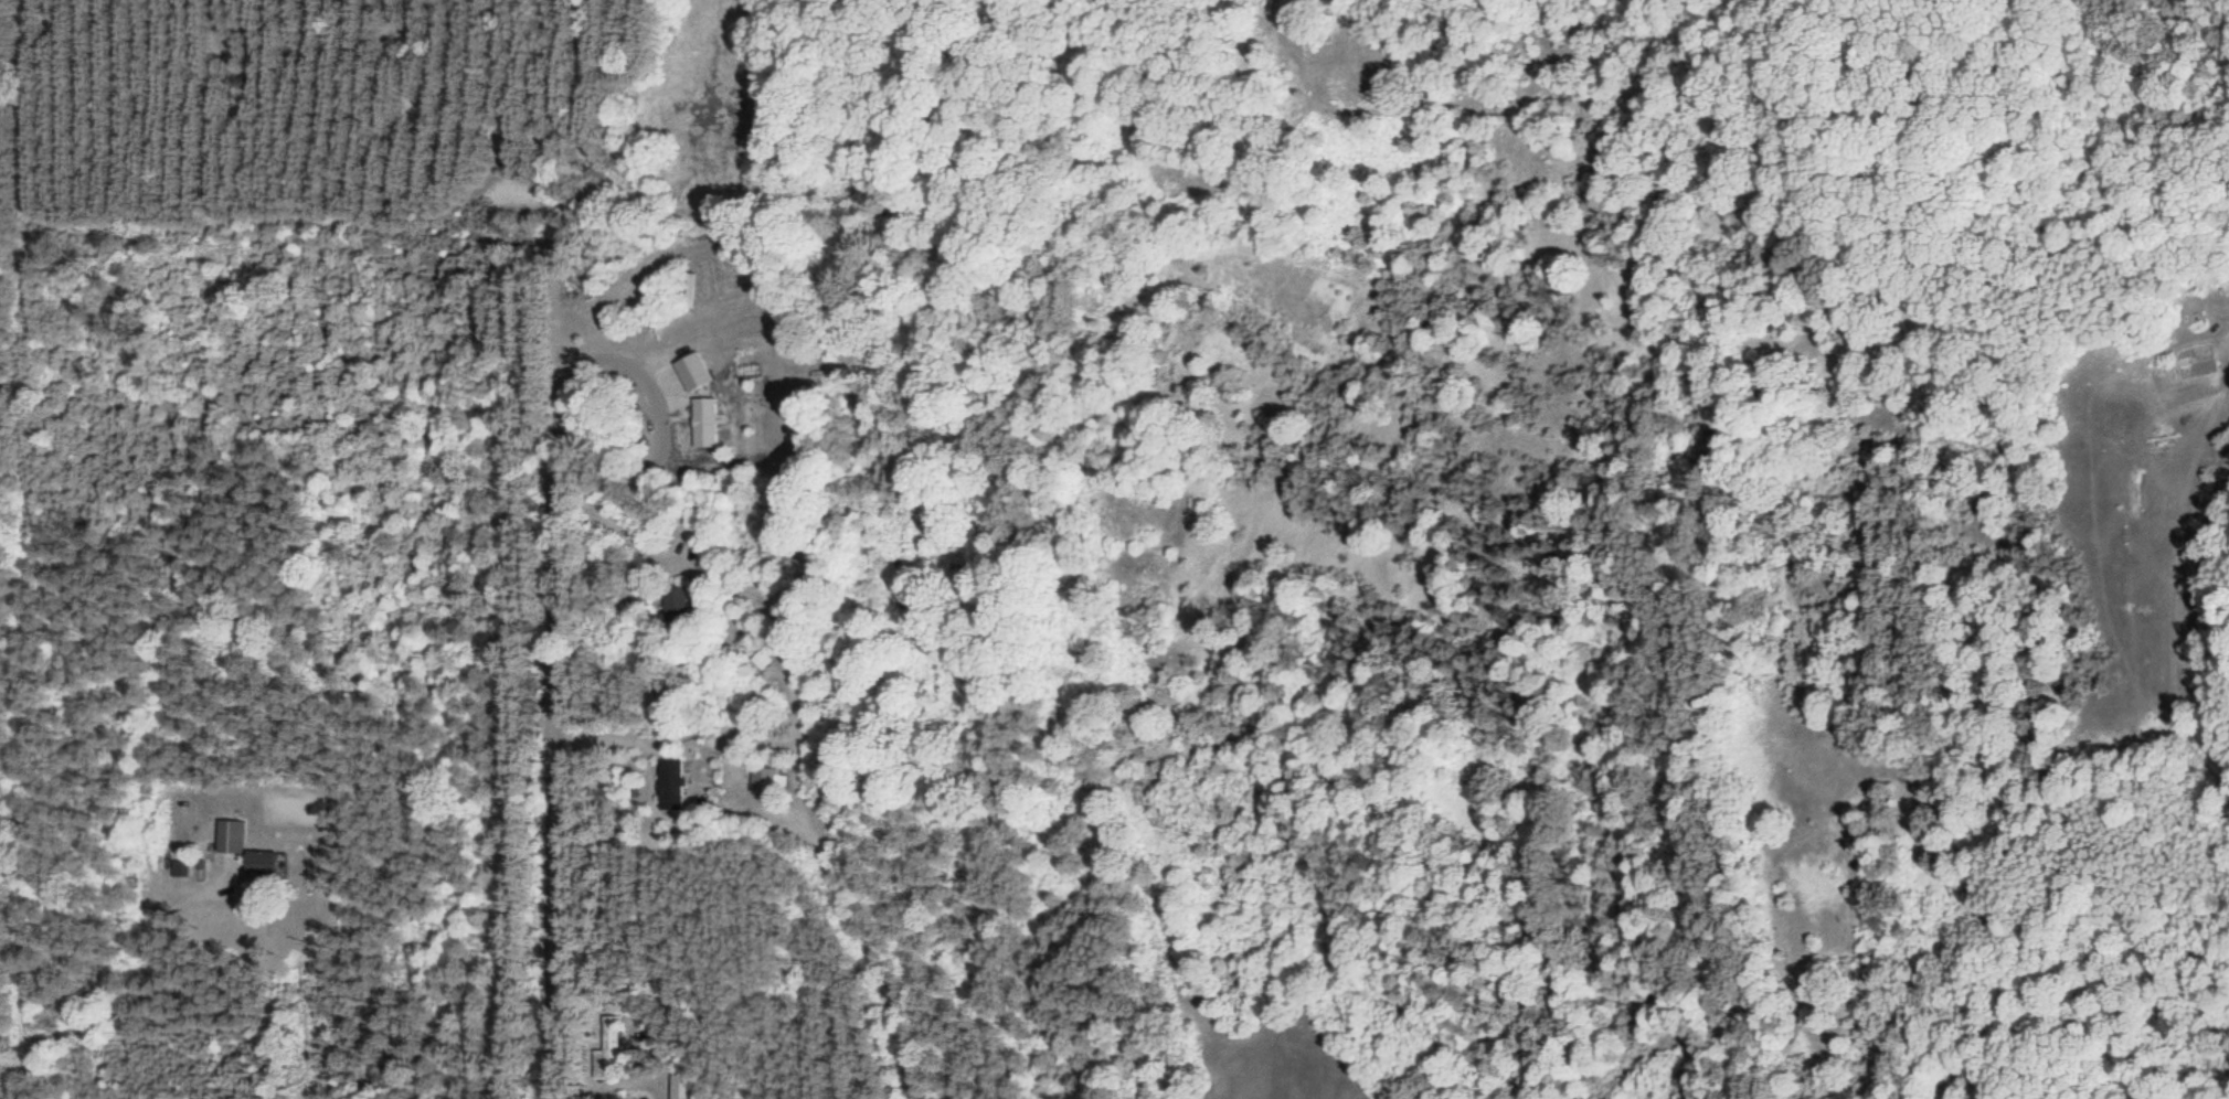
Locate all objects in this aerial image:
building: (704, 417)
building: (676, 605)
building: (761, 779)
building: (669, 780)
road: (548, 804)
building: (229, 836)
building: (258, 864)
road: (138, 993)
building: (607, 1050)
building: (680, 1086)

